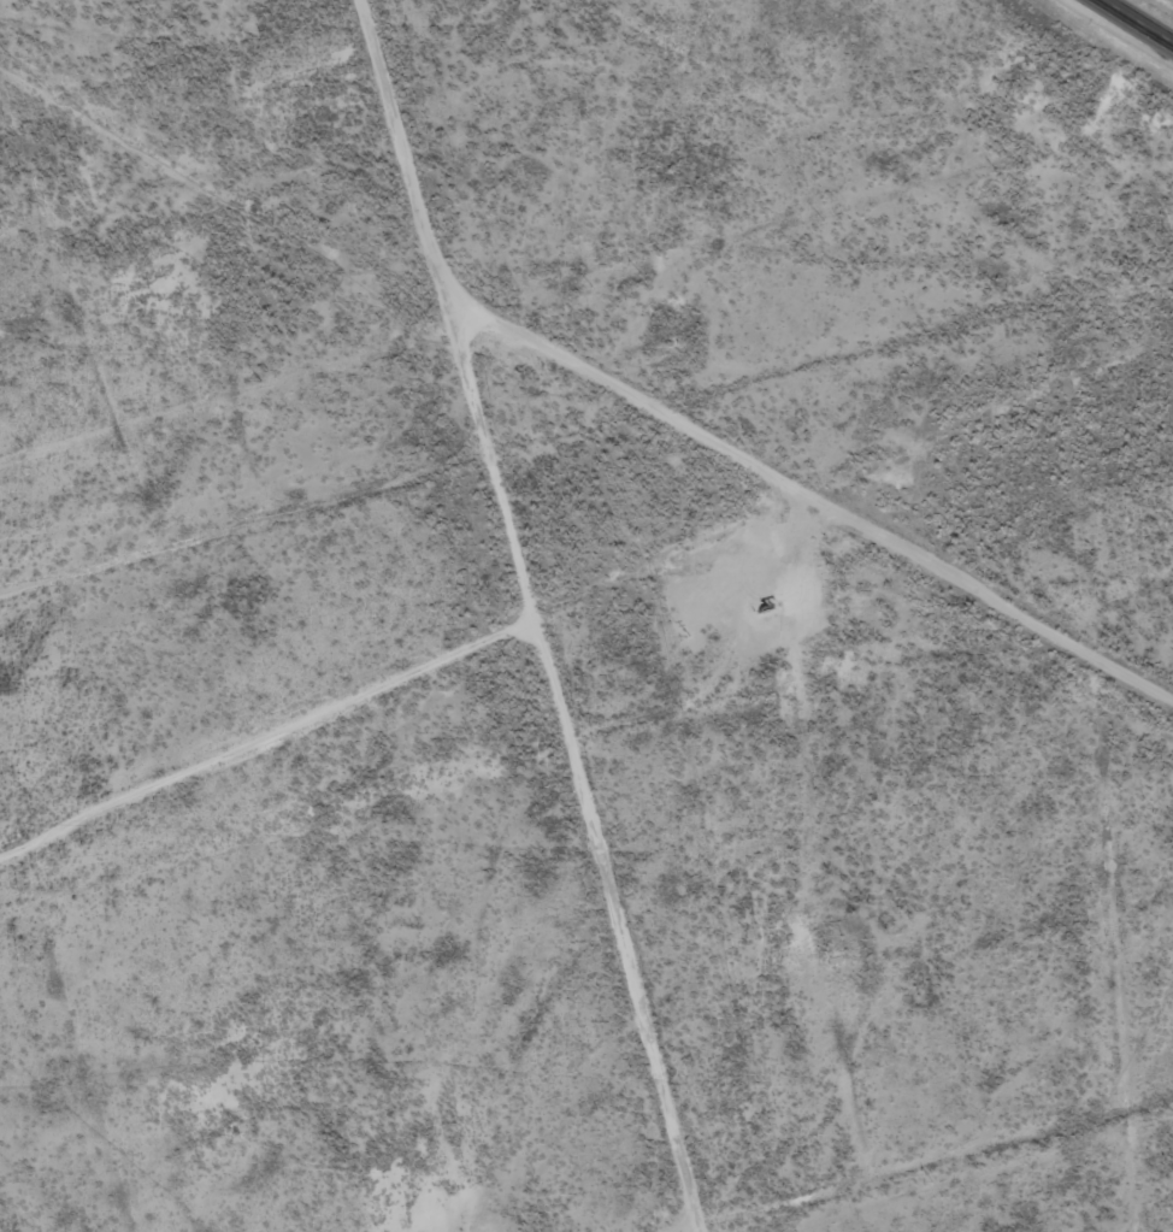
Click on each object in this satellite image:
road: (1139, 20)
road: (673, 435)
road: (589, 774)

